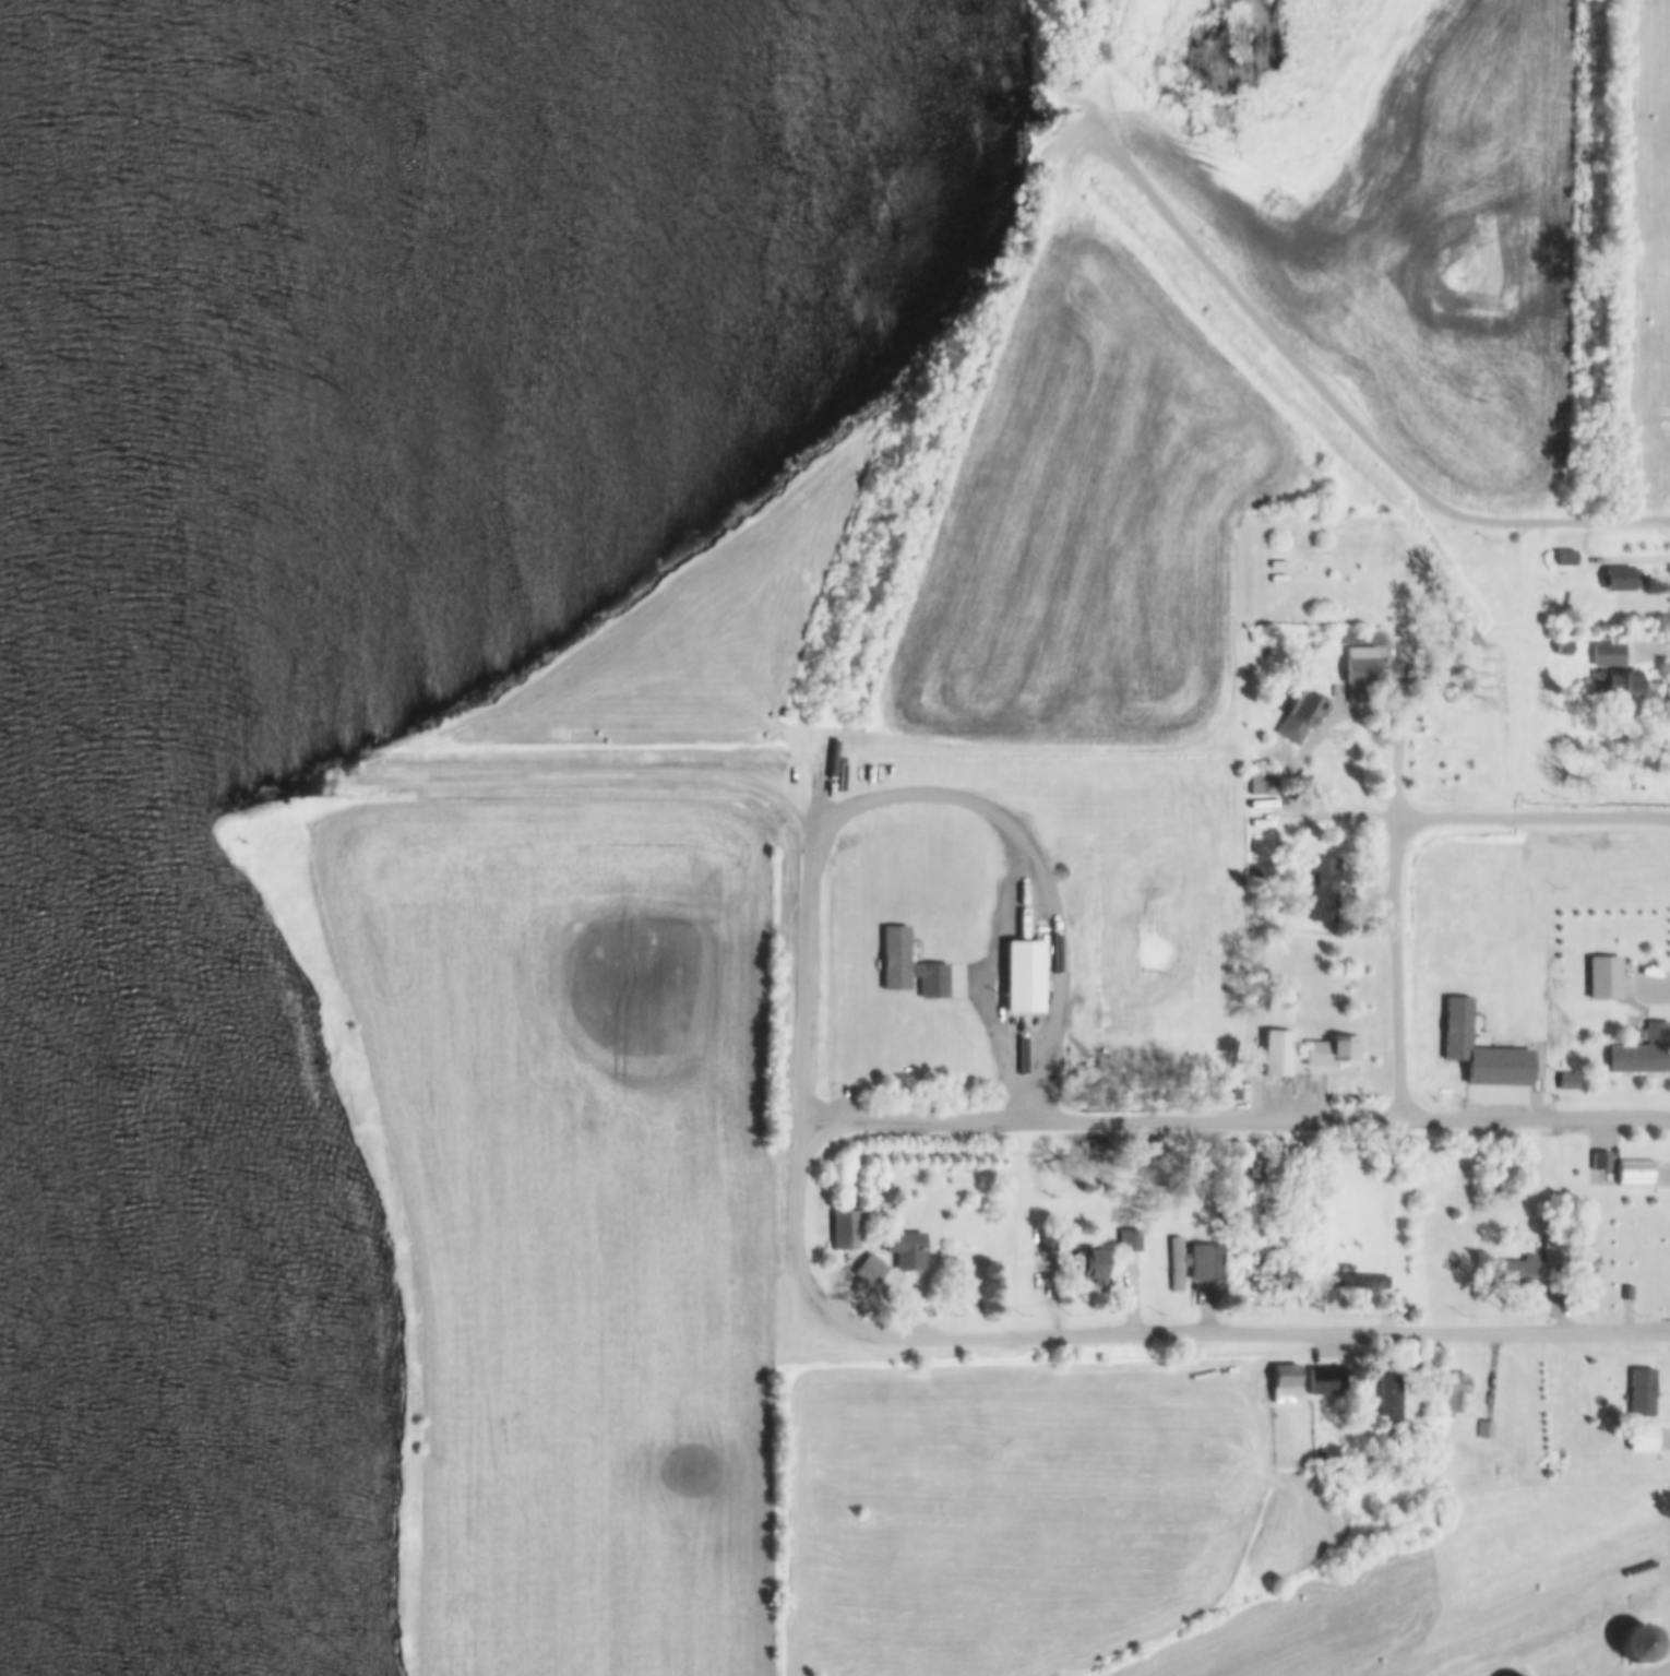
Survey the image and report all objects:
road: (1338, 412)
crop: (1090, 525)
building: (1564, 558)
building: (1619, 581)
building: (1561, 651)
building: (1606, 655)
building: (1619, 685)
building: (1355, 693)
building: (1299, 718)
road: (737, 777)
building: (1262, 786)
road: (1531, 818)
building: (1321, 890)
building: (813, 910)
building: (894, 959)
road: (1394, 970)
building: (1021, 978)
building: (1601, 978)
building: (1331, 1053)
building: (1275, 1055)
building: (1637, 1060)
road: (1018, 1063)
building: (1567, 1083)
building: (1239, 1094)
road: (1234, 1122)
building: (1600, 1163)
building: (1633, 1174)
crop: (574, 1217)
building: (846, 1232)
building: (1047, 1241)
building: (1129, 1243)
building: (905, 1251)
building: (1204, 1263)
building: (1176, 1265)
building: (872, 1268)
building: (1093, 1268)
building: (1518, 1275)
building: (1281, 1280)
road: (1144, 1333)
building: (1285, 1386)
building: (1455, 1393)
building: (1641, 1394)
building: (1388, 1398)
building: (1484, 1431)
building: (1319, 1460)
building: (1635, 1645)
silo: (1635, 1645)
road: (1666, 1673)

